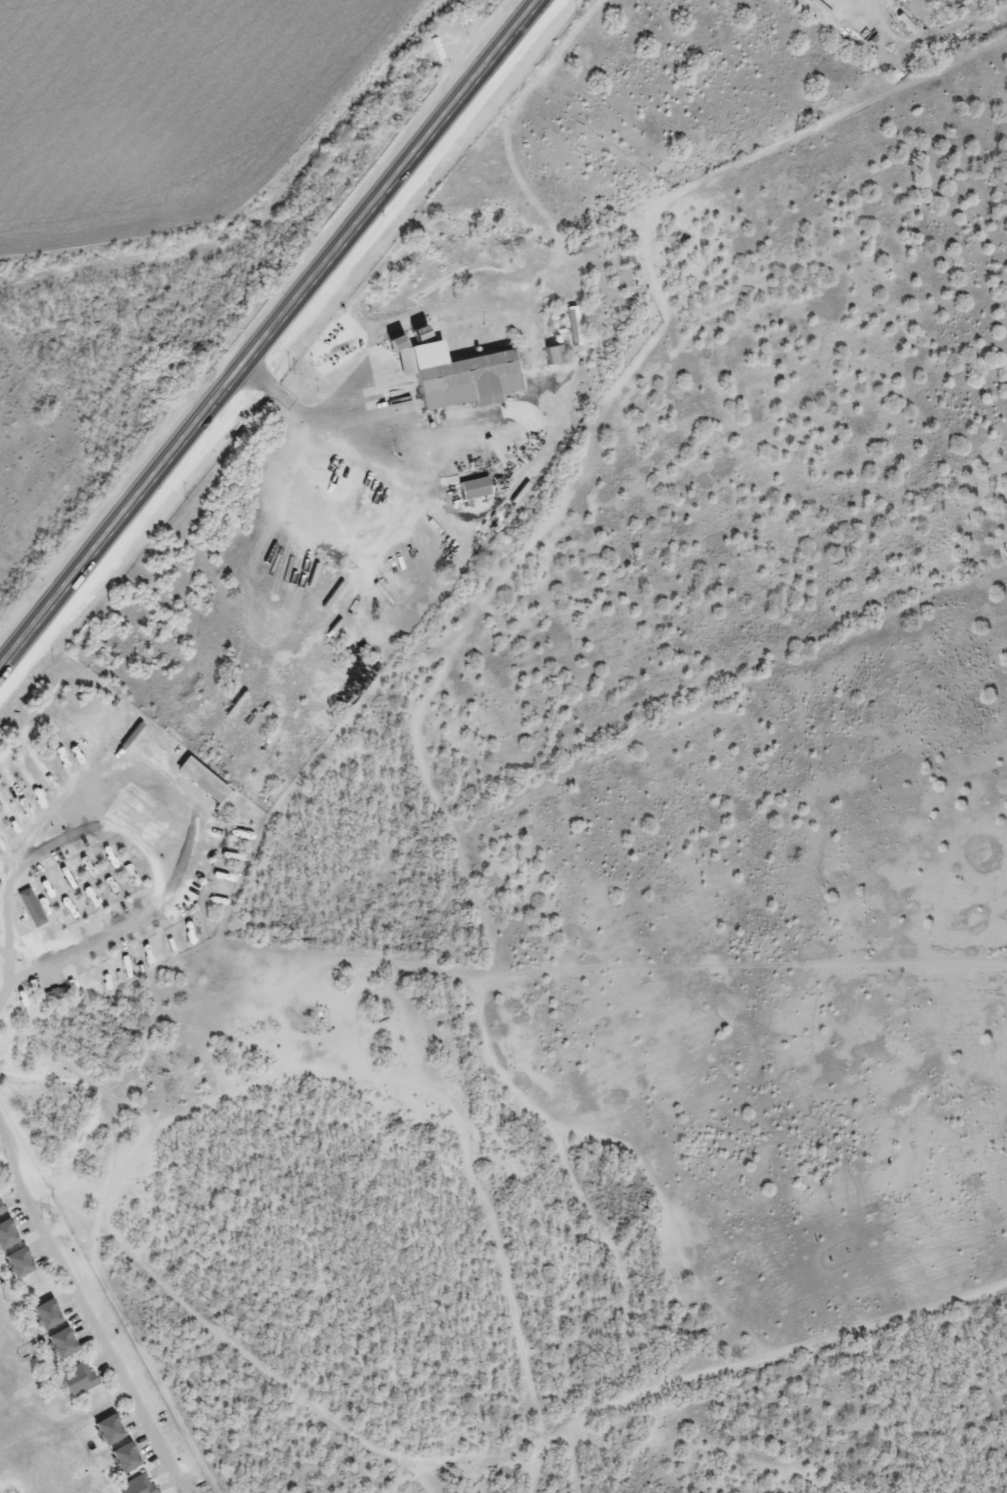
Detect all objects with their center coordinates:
building: (585, 249)
building: (572, 328)
road: (270, 334)
building: (551, 357)
building: (455, 378)
building: (473, 491)
building: (437, 552)
power tower: (46, 1217)

